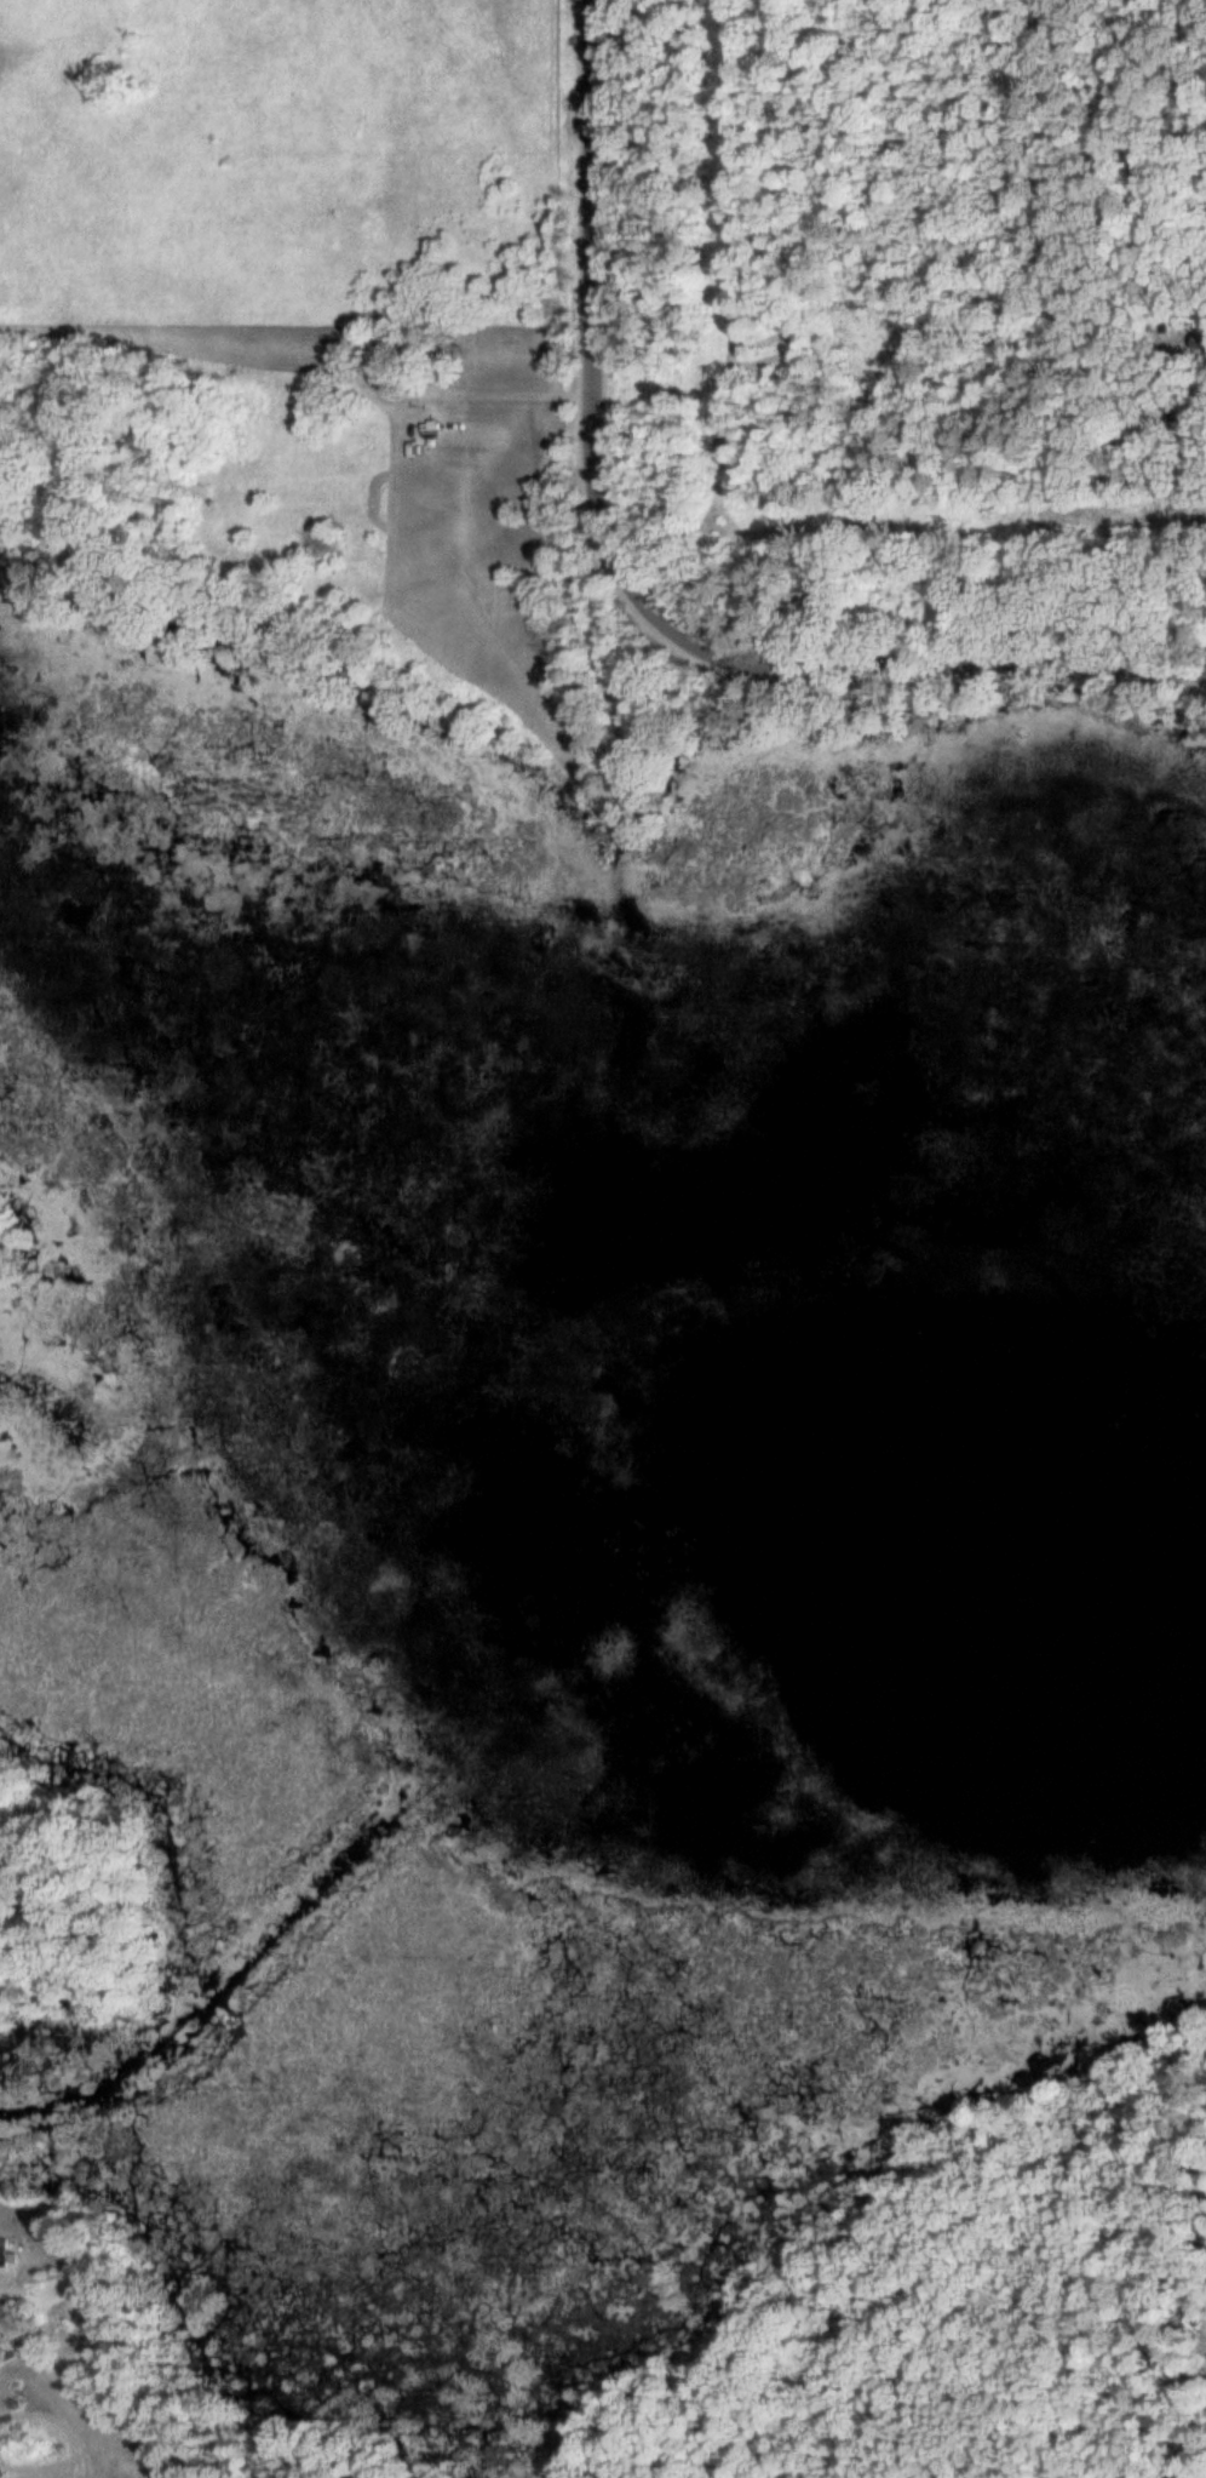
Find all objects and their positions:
road: (637, 588)
building: (4, 2251)
road: (25, 2294)
building: (1, 2420)

